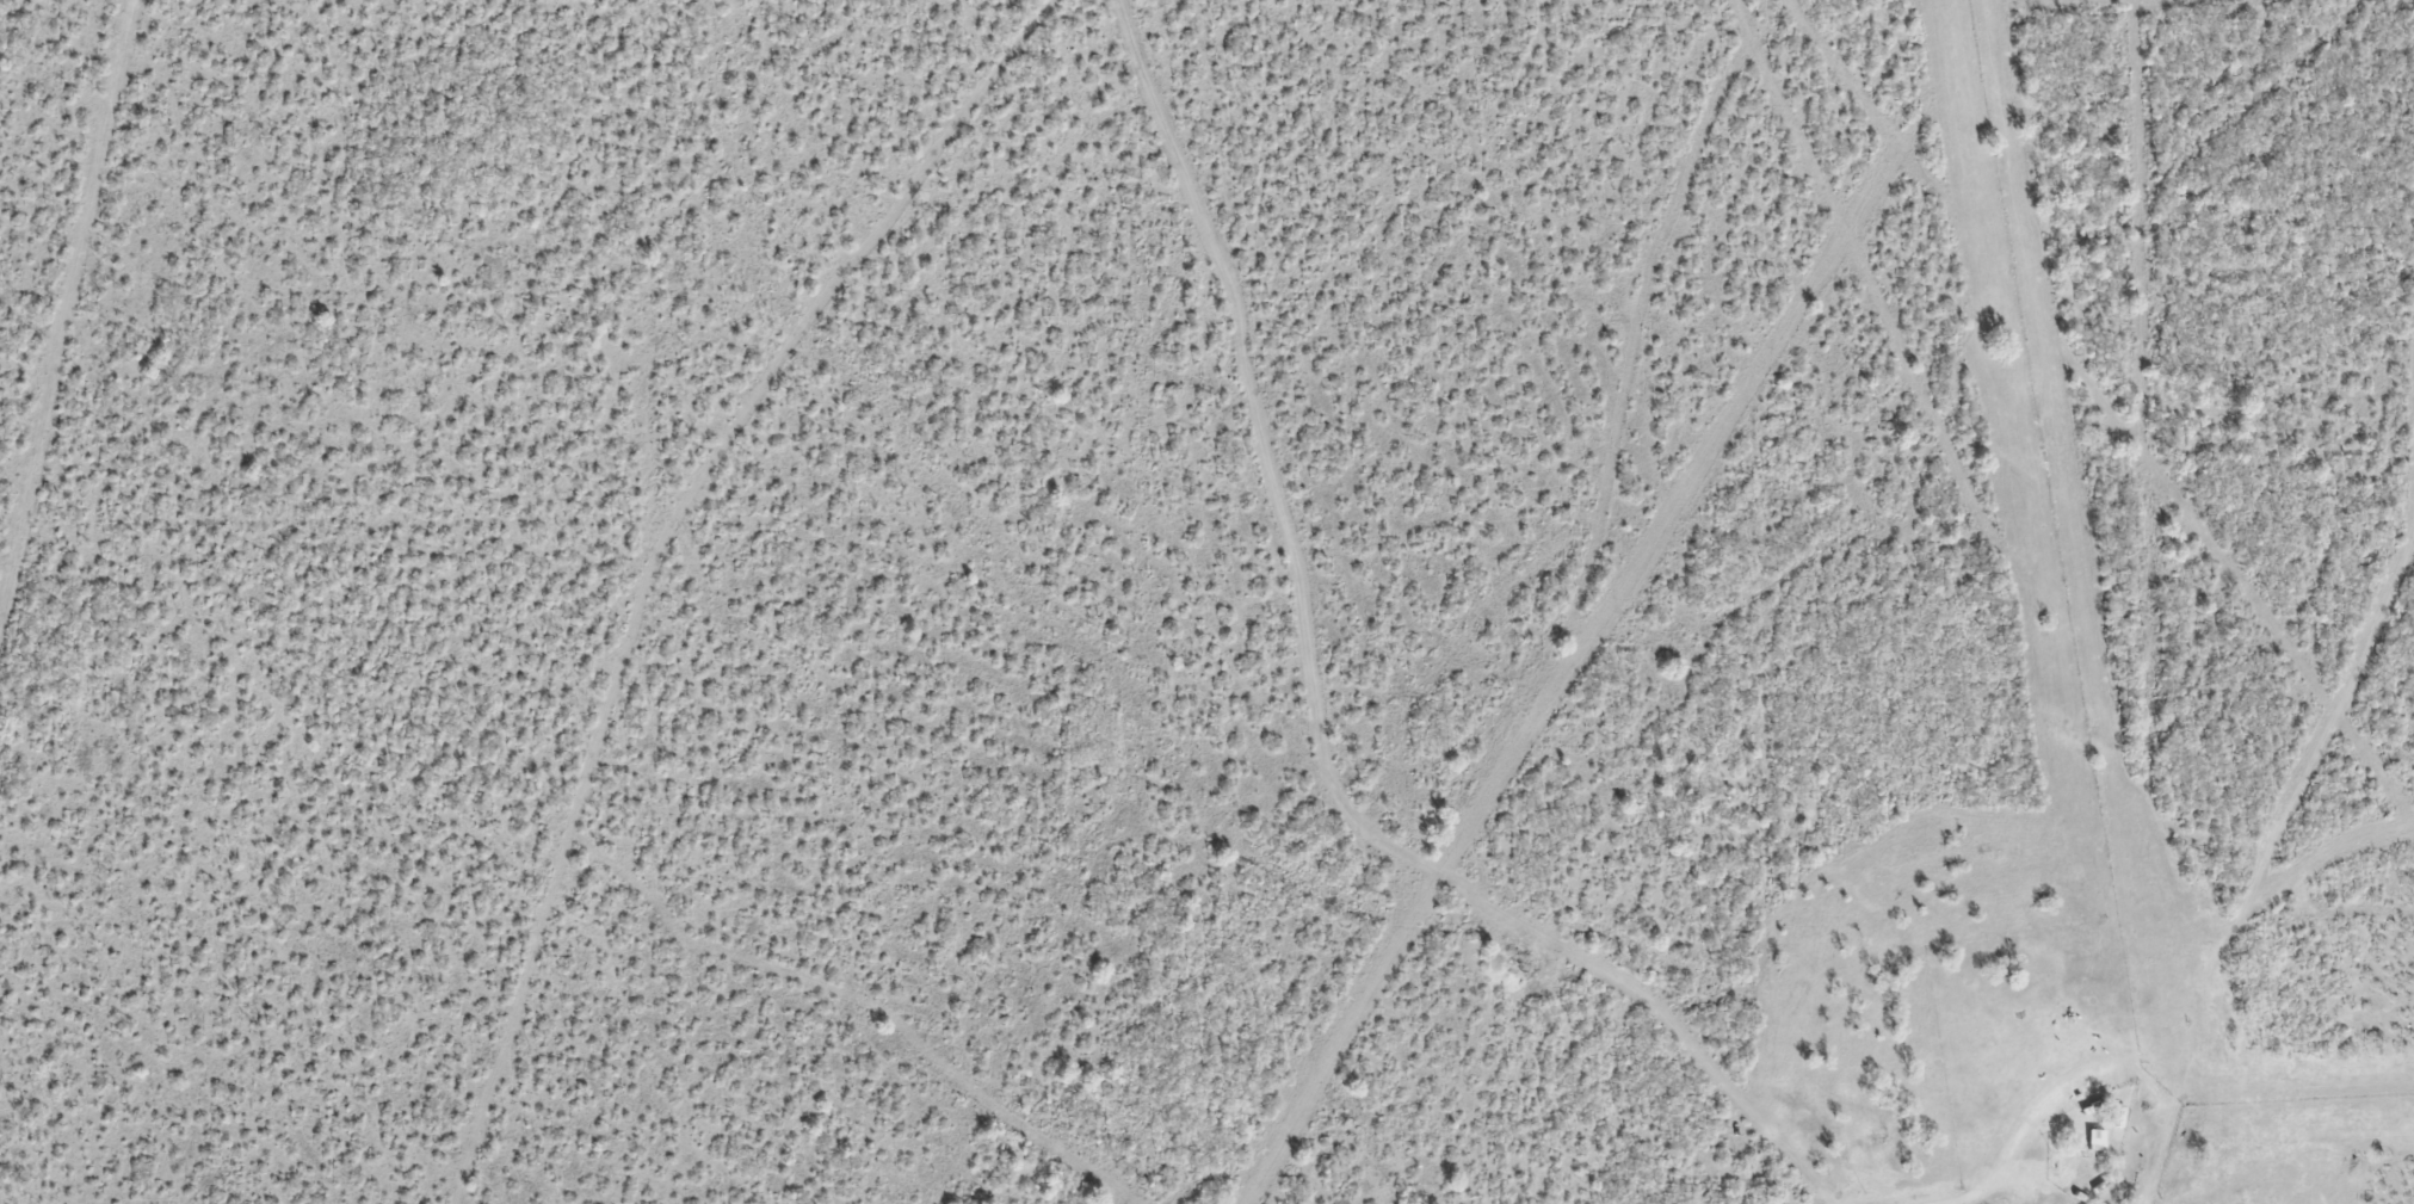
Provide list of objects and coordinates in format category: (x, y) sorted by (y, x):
road: (2005, 1148)

